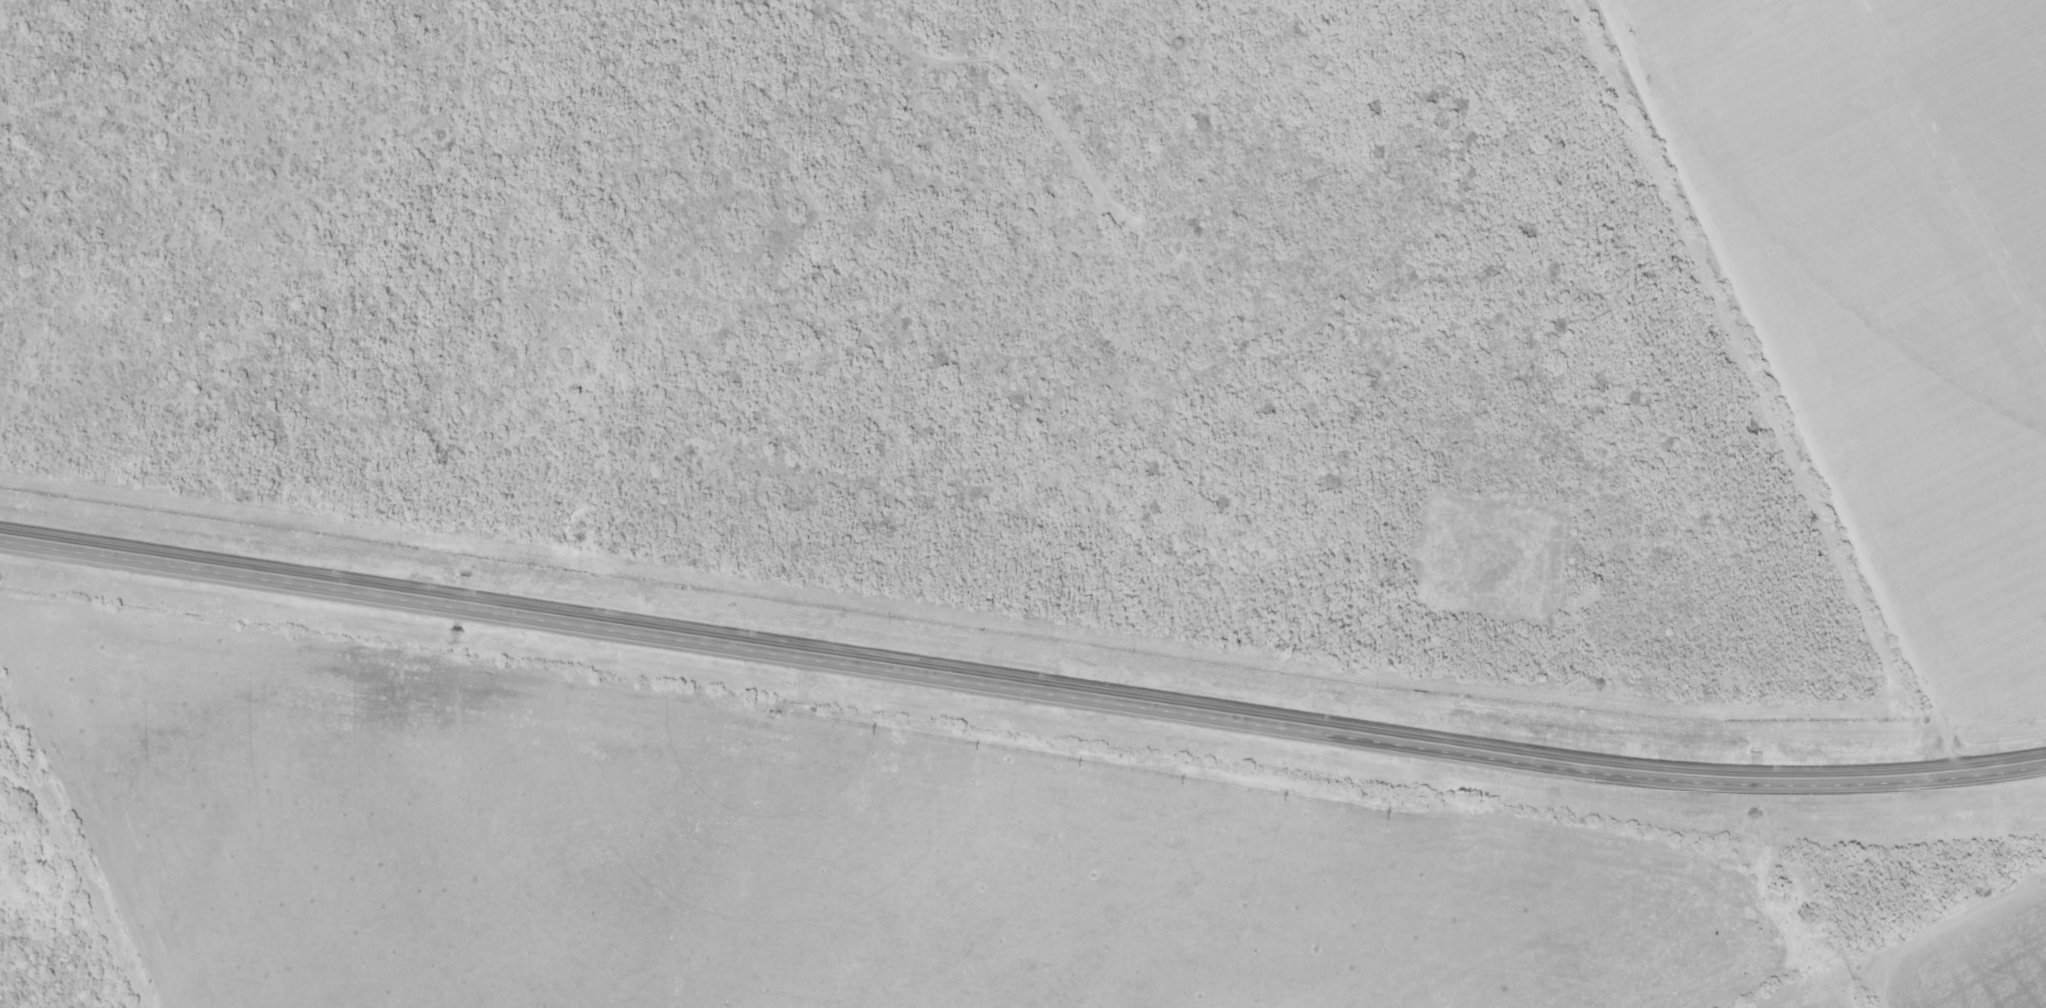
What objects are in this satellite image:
road: (1871, 575)
road: (1022, 683)
road: (740, 830)

